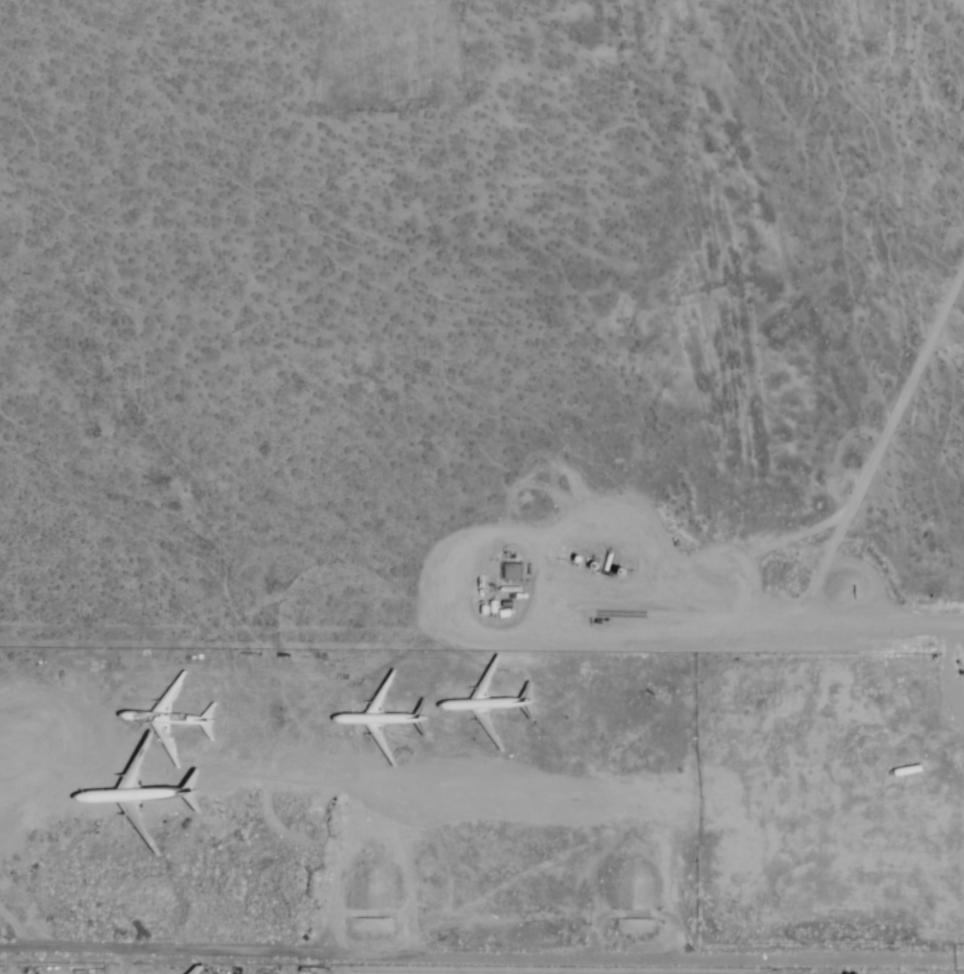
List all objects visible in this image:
airport: (482, 487)
building: (511, 572)
road: (730, 629)
building: (719, 903)
road: (366, 914)
road: (635, 916)
road: (165, 924)
road: (169, 956)
road: (651, 961)
airport apron: (298, 970)

